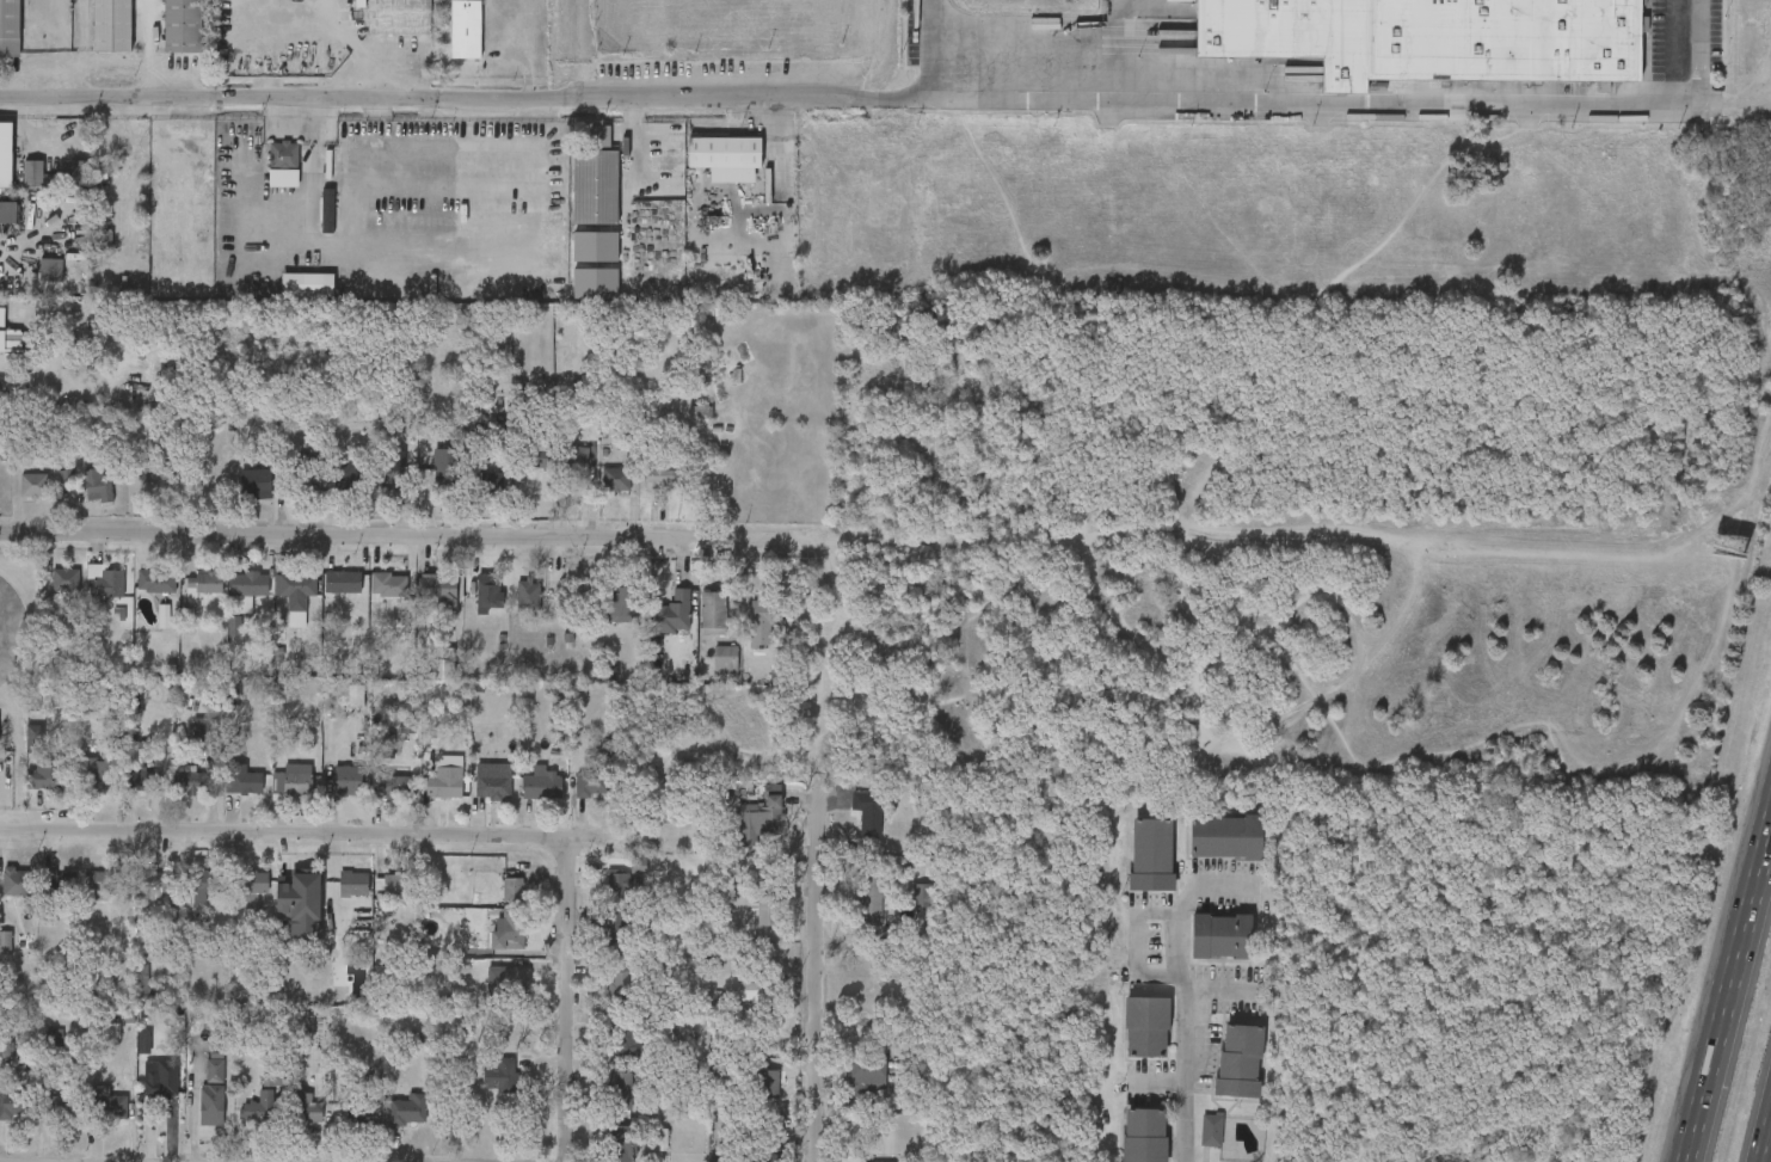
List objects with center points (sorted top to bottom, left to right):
building: (398, 16)
building: (112, 25)
building: (182, 25)
building: (10, 27)
road: (1053, 27)
building: (466, 29)
building: (1432, 36)
road: (1734, 96)
road: (1310, 98)
road: (463, 99)
building: (601, 135)
building: (5, 153)
building: (724, 158)
building: (284, 162)
building: (56, 173)
building: (596, 185)
building: (328, 208)
building: (7, 210)
building: (103, 241)
building: (51, 271)
building: (307, 284)
building: (19, 342)
building: (536, 457)
building: (577, 460)
building: (305, 467)
building: (160, 471)
building: (443, 471)
building: (396, 474)
building: (668, 477)
building: (69, 478)
building: (617, 479)
building: (486, 481)
building: (256, 482)
building: (348, 482)
building: (33, 484)
building: (97, 485)
road: (404, 535)
building: (156, 579)
building: (204, 579)
building: (66, 580)
building: (110, 580)
building: (343, 580)
building: (250, 582)
building: (295, 583)
building: (389, 583)
building: (438, 585)
building: (490, 589)
building: (535, 596)
building: (626, 602)
building: (675, 611)
building: (714, 611)
building: (164, 616)
building: (762, 622)
building: (234, 626)
building: (726, 657)
building: (356, 695)
building: (134, 700)
building: (406, 725)
building: (204, 731)
building: (388, 746)
building: (45, 770)
building: (97, 773)
building: (143, 779)
building: (191, 779)
building: (296, 779)
building: (350, 779)
building: (244, 780)
building: (492, 781)
building: (542, 782)
building: (592, 782)
building: (396, 783)
building: (443, 783)
building: (868, 810)
building: (762, 818)
road: (343, 832)
building: (1226, 836)
building: (1152, 854)
building: (639, 866)
building: (19, 879)
building: (207, 879)
building: (61, 880)
building: (106, 880)
building: (156, 880)
building: (253, 880)
building: (302, 883)
building: (353, 883)
building: (620, 884)
building: (396, 885)
building: (514, 889)
building: (868, 893)
building: (923, 893)
building: (768, 909)
building: (508, 928)
building: (143, 929)
building: (622, 930)
building: (1222, 936)
road: (1134, 945)
building: (5, 947)
road: (818, 973)
building: (620, 979)
building: (509, 982)
building: (144, 985)
building: (749, 986)
road: (1730, 990)
road: (566, 992)
road: (1183, 992)
building: (1148, 1028)
building: (113, 1031)
building: (626, 1039)
building: (55, 1043)
building: (144, 1043)
building: (1240, 1062)
building: (272, 1072)
building: (502, 1072)
building: (867, 1077)
building: (164, 1081)
building: (768, 1081)
building: (621, 1089)
building: (213, 1092)
building: (63, 1101)
building: (11, 1102)
building: (110, 1103)
building: (259, 1105)
building: (307, 1107)
building: (404, 1107)
building: (362, 1109)
building: (353, 1119)
building: (1212, 1130)
building: (1144, 1135)
building: (662, 1139)
building: (621, 1143)
road: (1767, 1150)
building: (768, 1158)
building: (892, 1161)

